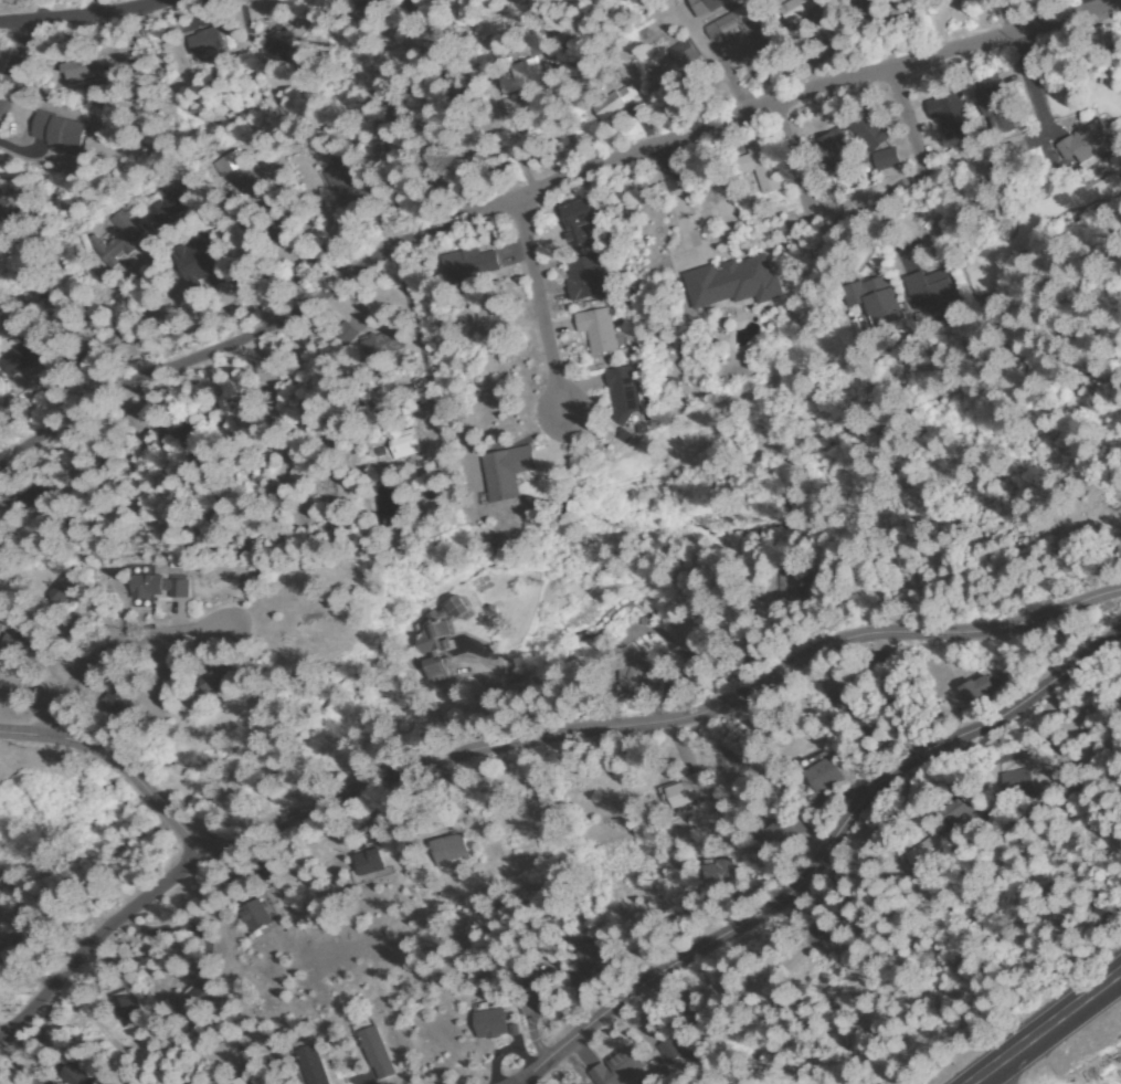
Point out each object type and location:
building: (325, 1)
building: (357, 1)
building: (267, 4)
building: (708, 7)
building: (863, 7)
building: (924, 7)
building: (796, 11)
road: (101, 13)
building: (722, 27)
building: (489, 31)
building: (537, 43)
building: (748, 43)
building: (205, 48)
building: (278, 49)
road: (15, 65)
building: (671, 70)
building: (85, 72)
building: (520, 77)
building: (614, 104)
building: (995, 105)
building: (464, 116)
building: (951, 117)
building: (870, 130)
building: (59, 133)
building: (1089, 144)
building: (831, 149)
building: (335, 150)
building: (400, 150)
building: (886, 160)
building: (229, 165)
building: (761, 169)
building: (345, 186)
road: (543, 189)
building: (2, 192)
building: (1, 204)
building: (163, 220)
building: (580, 220)
building: (255, 224)
building: (120, 239)
building: (199, 264)
building: (468, 265)
building: (586, 278)
building: (729, 285)
building: (931, 290)
building: (874, 299)
road: (540, 307)
building: (347, 333)
building: (597, 333)
building: (102, 340)
building: (380, 343)
building: (28, 351)
building: (231, 392)
building: (623, 394)
building: (134, 421)
building: (180, 430)
building: (398, 435)
building: (106, 454)
building: (505, 472)
building: (6, 495)
building: (40, 499)
building: (796, 586)
building: (159, 587)
building: (61, 591)
building: (2, 619)
building: (440, 630)
building: (11, 648)
road: (108, 649)
building: (696, 659)
building: (442, 673)
building: (173, 675)
building: (634, 676)
building: (214, 681)
building: (980, 690)
building: (837, 694)
building: (117, 703)
building: (865, 722)
road: (540, 736)
building: (822, 773)
building: (1017, 786)
building: (687, 791)
building: (960, 810)
building: (779, 841)
building: (447, 850)
building: (930, 853)
road: (824, 860)
building: (367, 861)
building: (720, 874)
building: (696, 911)
building: (255, 916)
building: (854, 922)
road: (98, 936)
building: (596, 959)
building: (577, 988)
building: (538, 990)
building: (198, 1000)
building: (125, 1009)
building: (489, 1024)
building: (680, 1031)
road: (1051, 1032)
building: (374, 1053)
building: (311, 1063)
building: (622, 1070)
building: (75, 1073)
building: (235, 1081)
road: (527, 1081)
building: (168, 1083)

